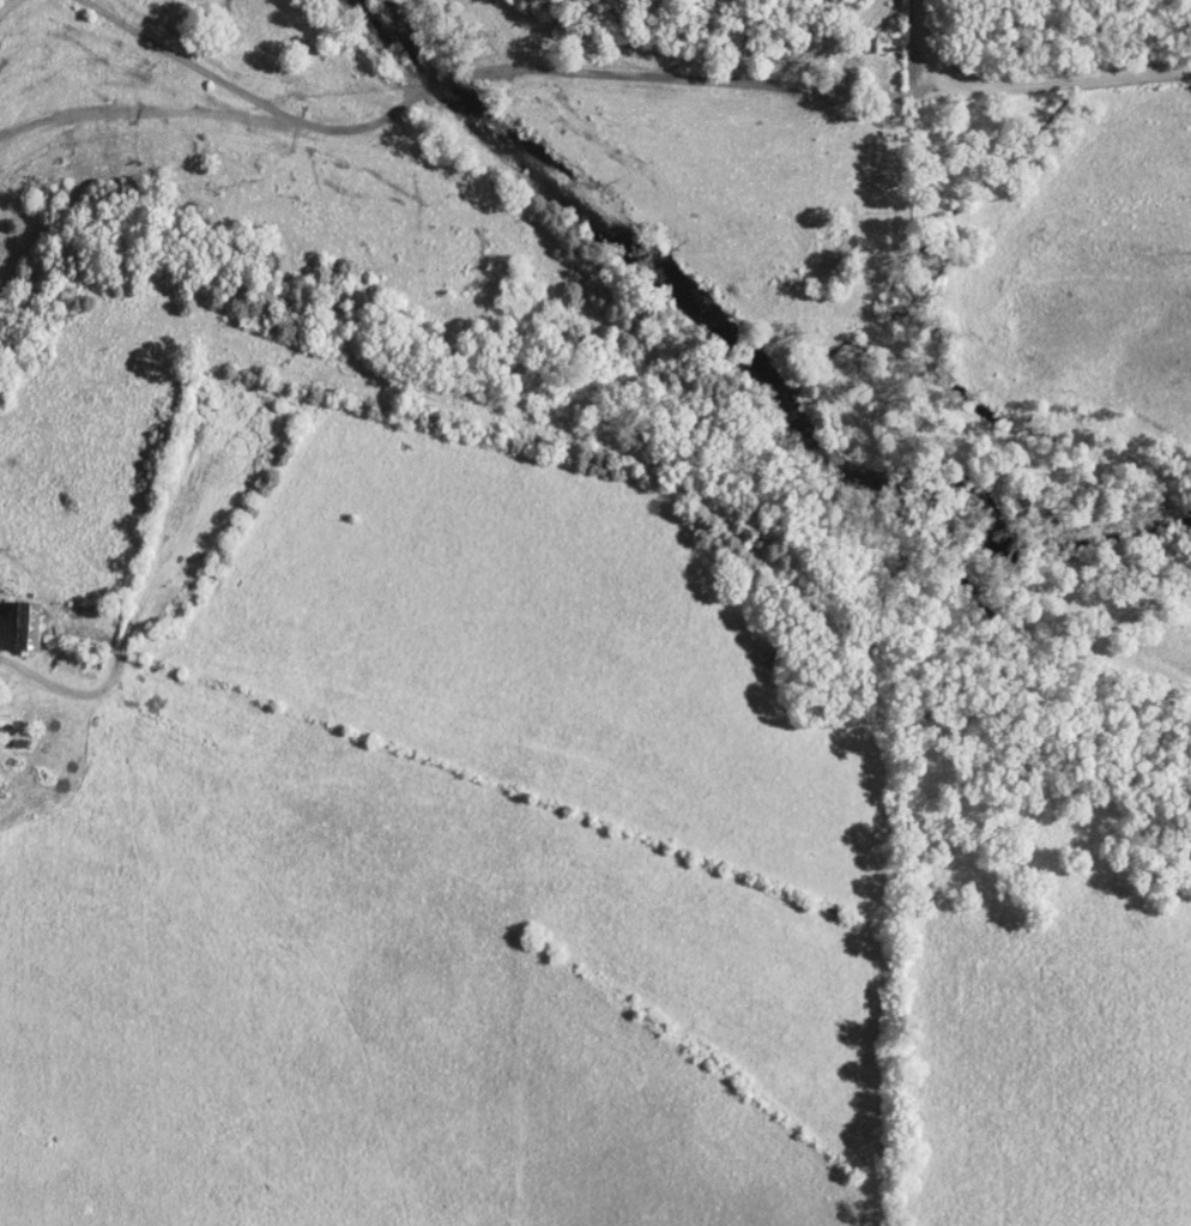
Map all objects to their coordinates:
road: (5, 4)
road: (695, 78)
road: (1023, 85)
road: (258, 104)
road: (153, 121)

